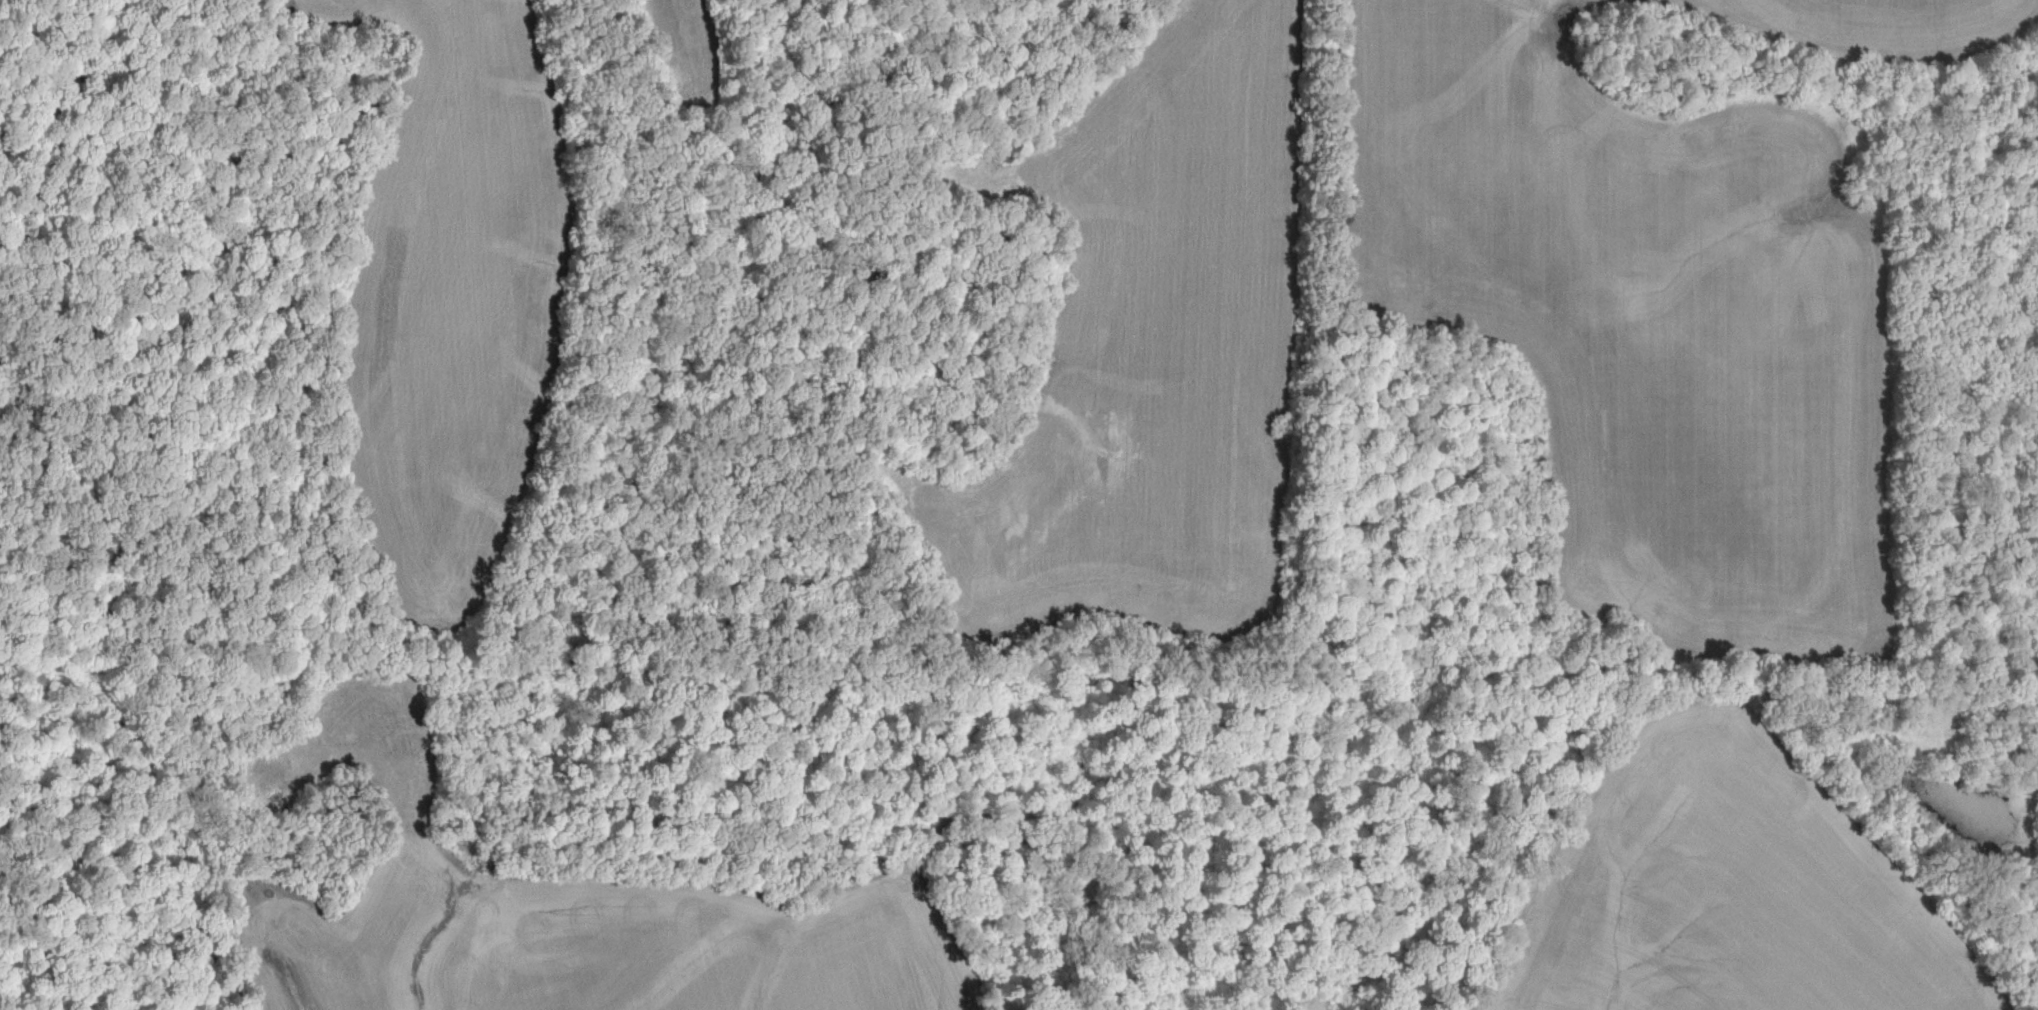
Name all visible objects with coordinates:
road: (1745, 363)
road: (656, 867)
road: (679, 936)

